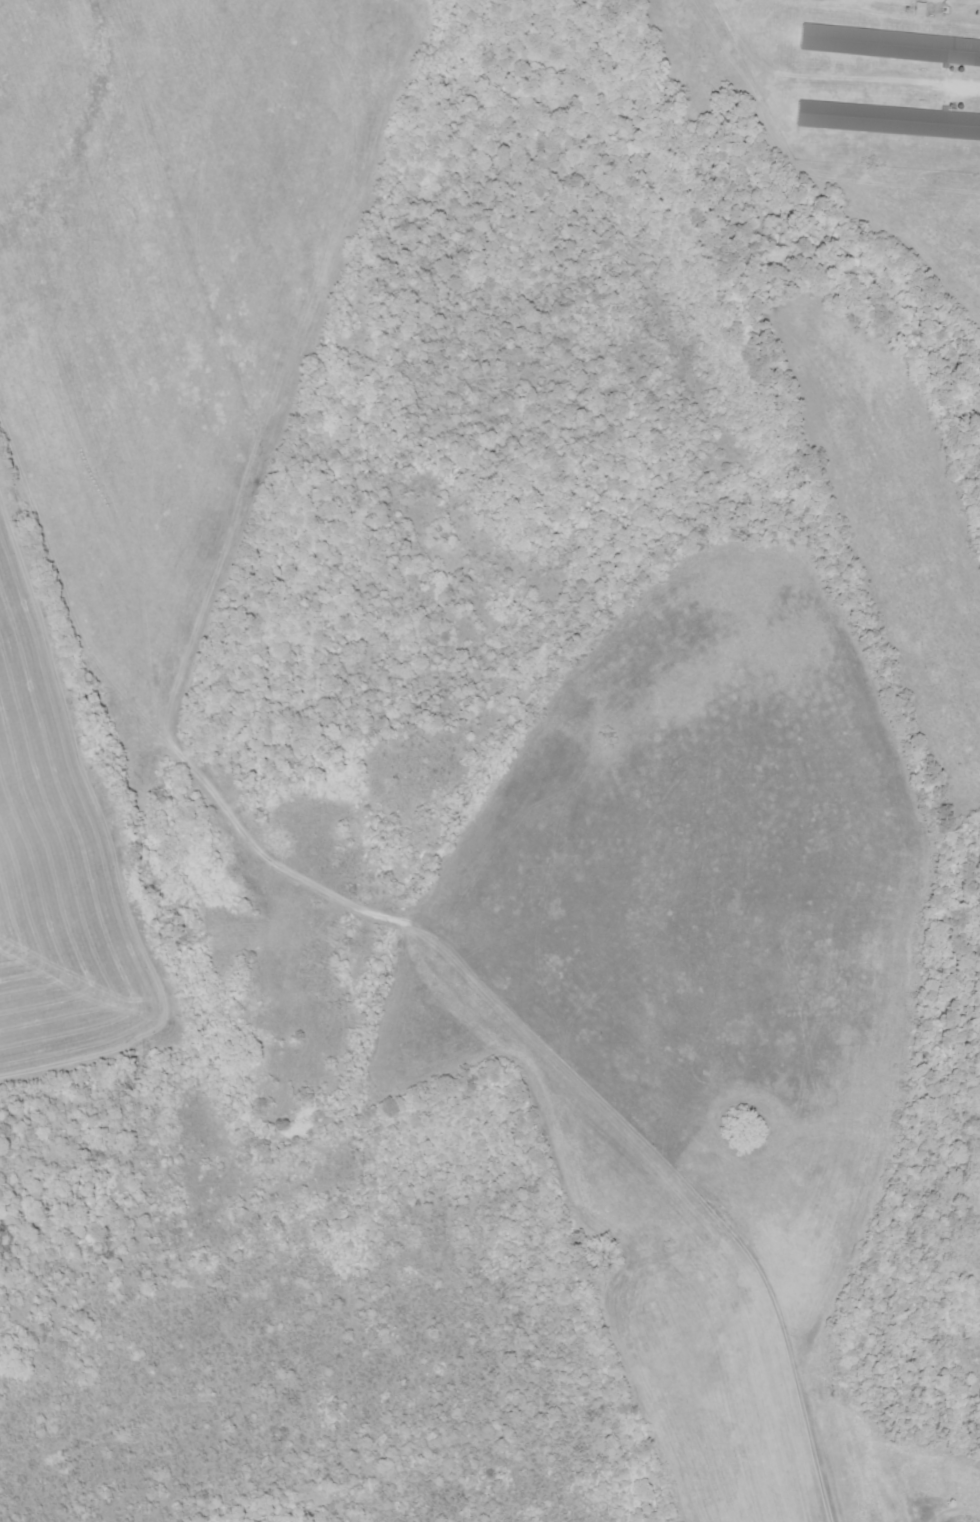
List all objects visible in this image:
building: (890, 44)
building: (888, 120)

